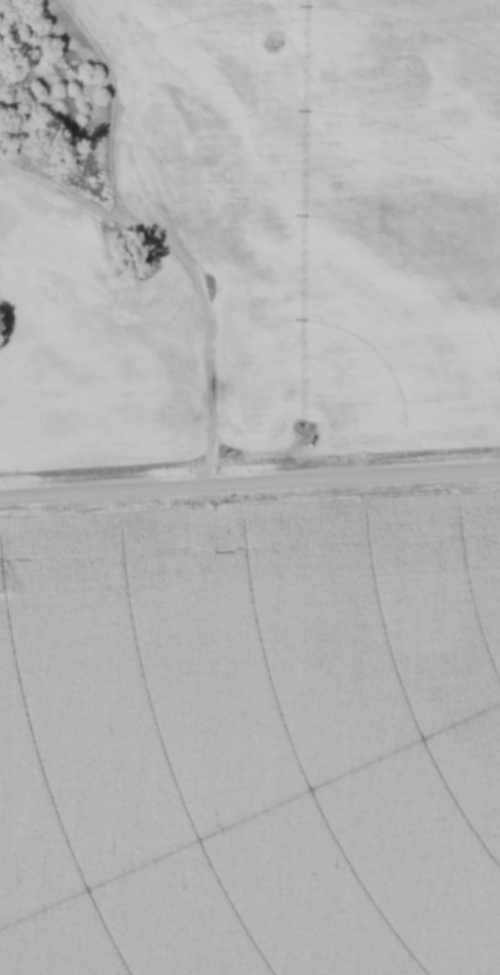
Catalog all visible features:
road: (250, 488)

